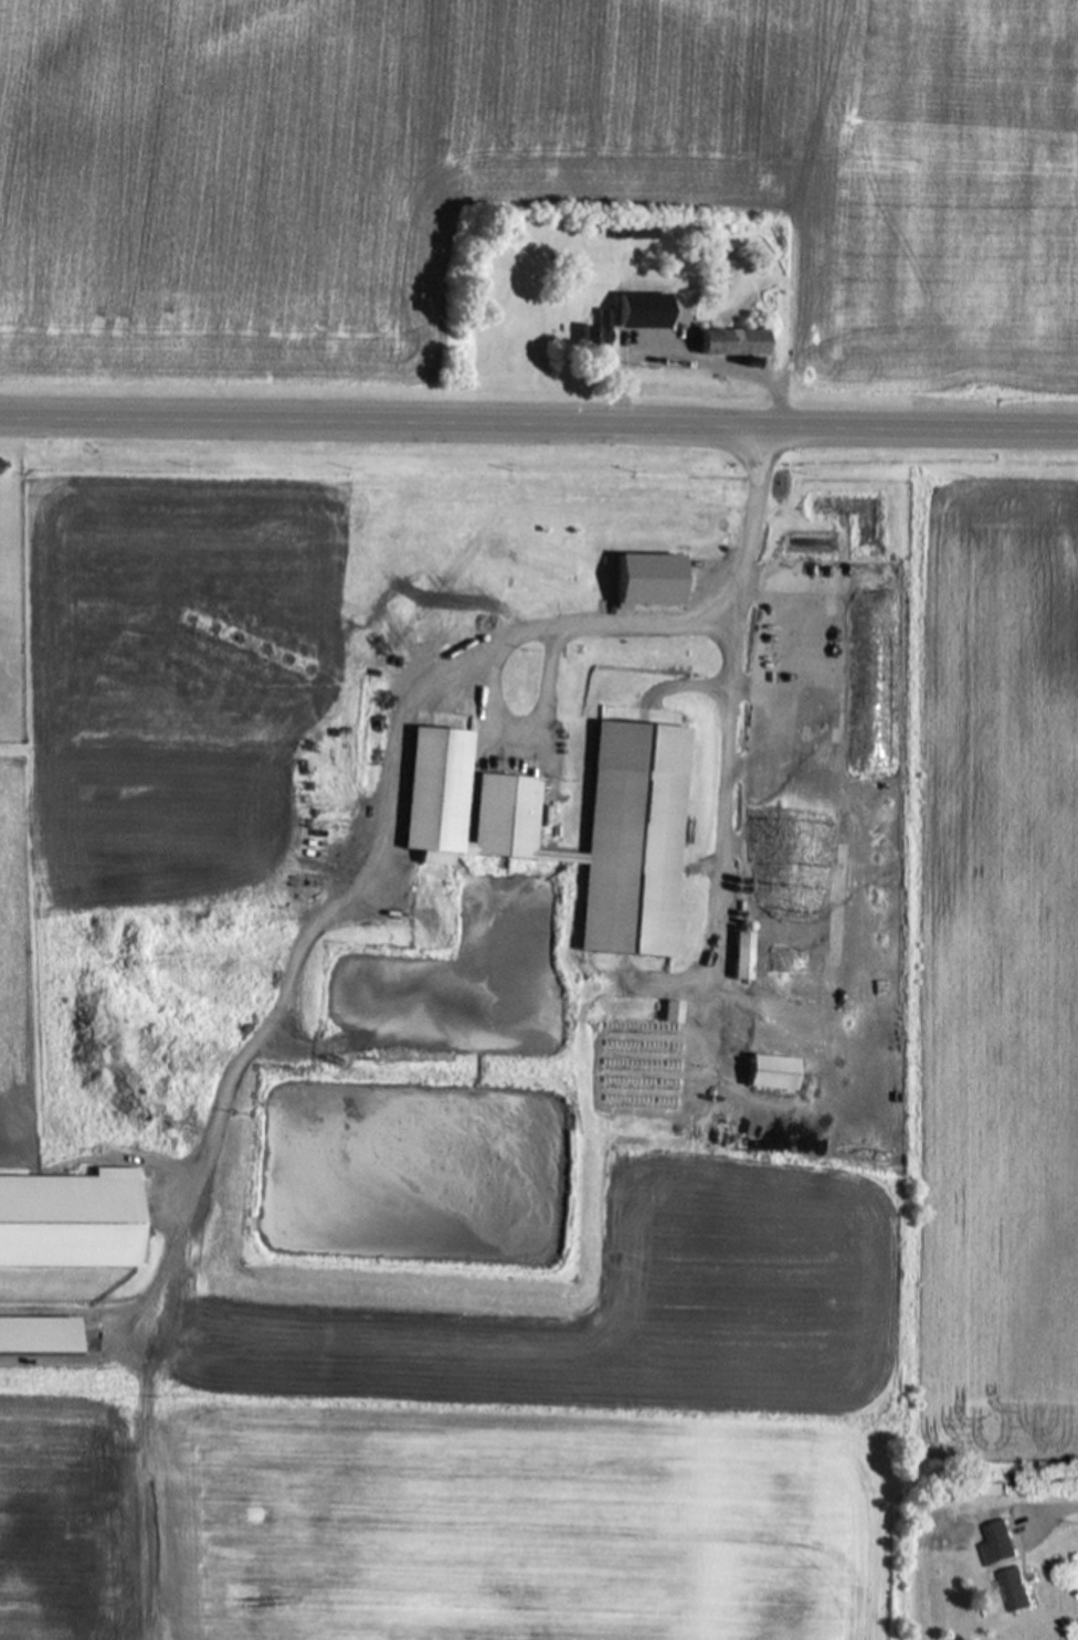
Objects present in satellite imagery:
building: (628, 316)
building: (600, 335)
building: (737, 343)
road: (539, 420)
building: (811, 564)
road: (736, 701)
road: (526, 718)
road: (390, 780)
building: (637, 810)
building: (744, 955)
building: (673, 1013)
building: (775, 1073)
building: (943, 1501)
road: (1050, 1515)
building: (1000, 1553)
building: (1019, 1591)

